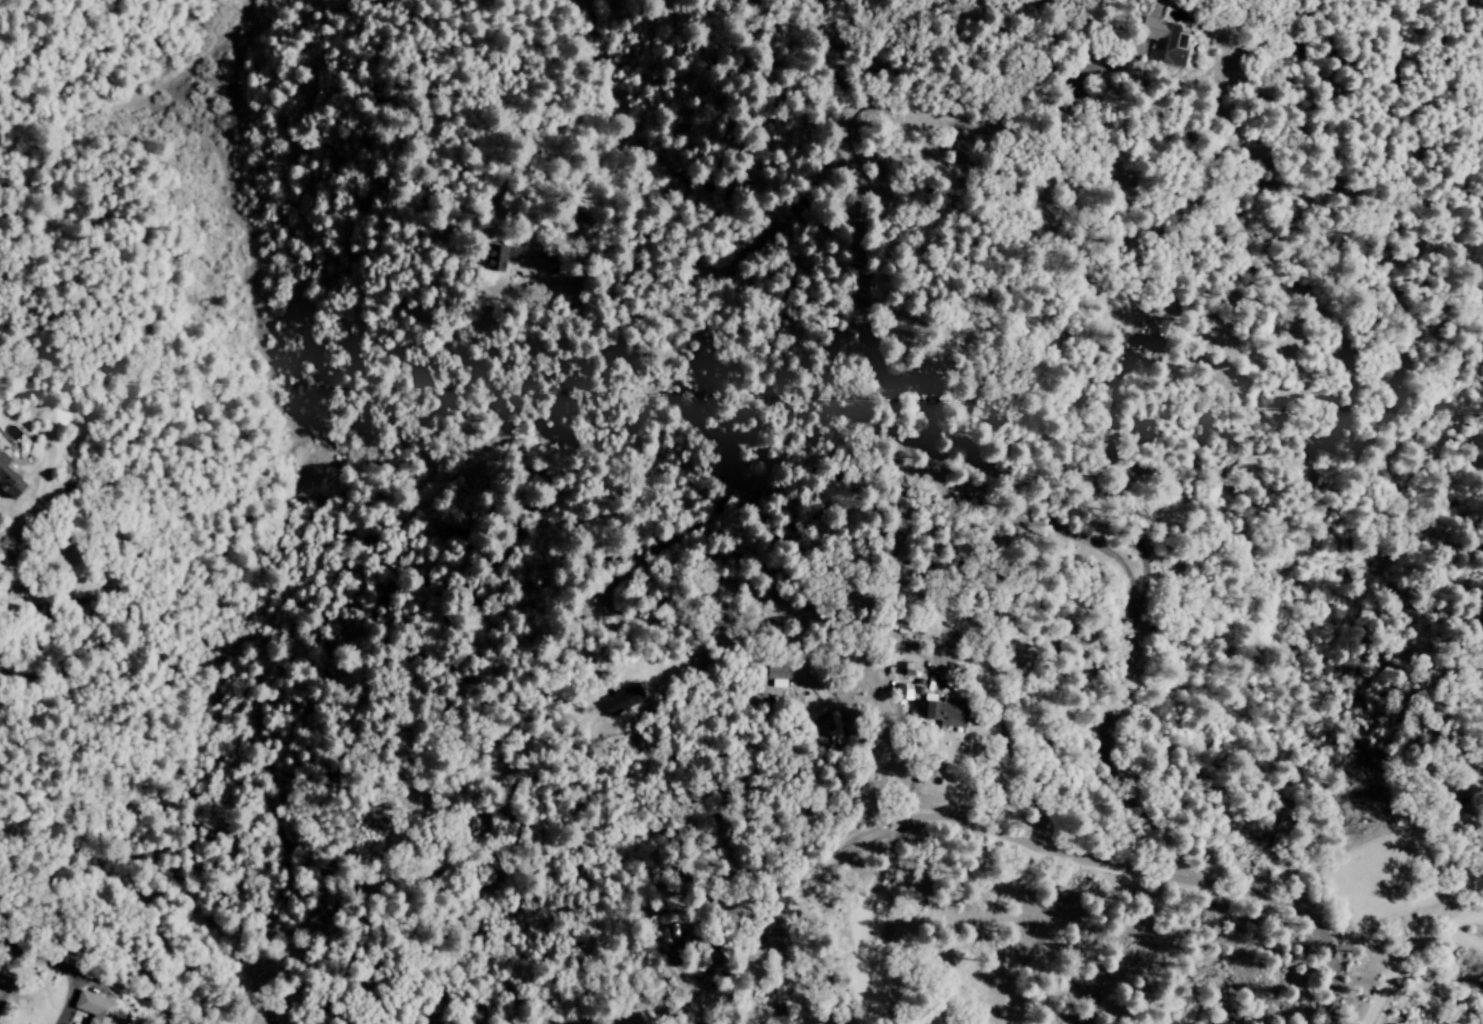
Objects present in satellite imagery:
building: (1169, 45)
building: (501, 257)
building: (1151, 335)
building: (921, 393)
road: (0, 432)
building: (0, 460)
building: (6, 483)
building: (776, 672)
building: (940, 710)
road: (1006, 746)
road: (1074, 858)
road: (62, 964)
road: (803, 981)
building: (93, 1008)

